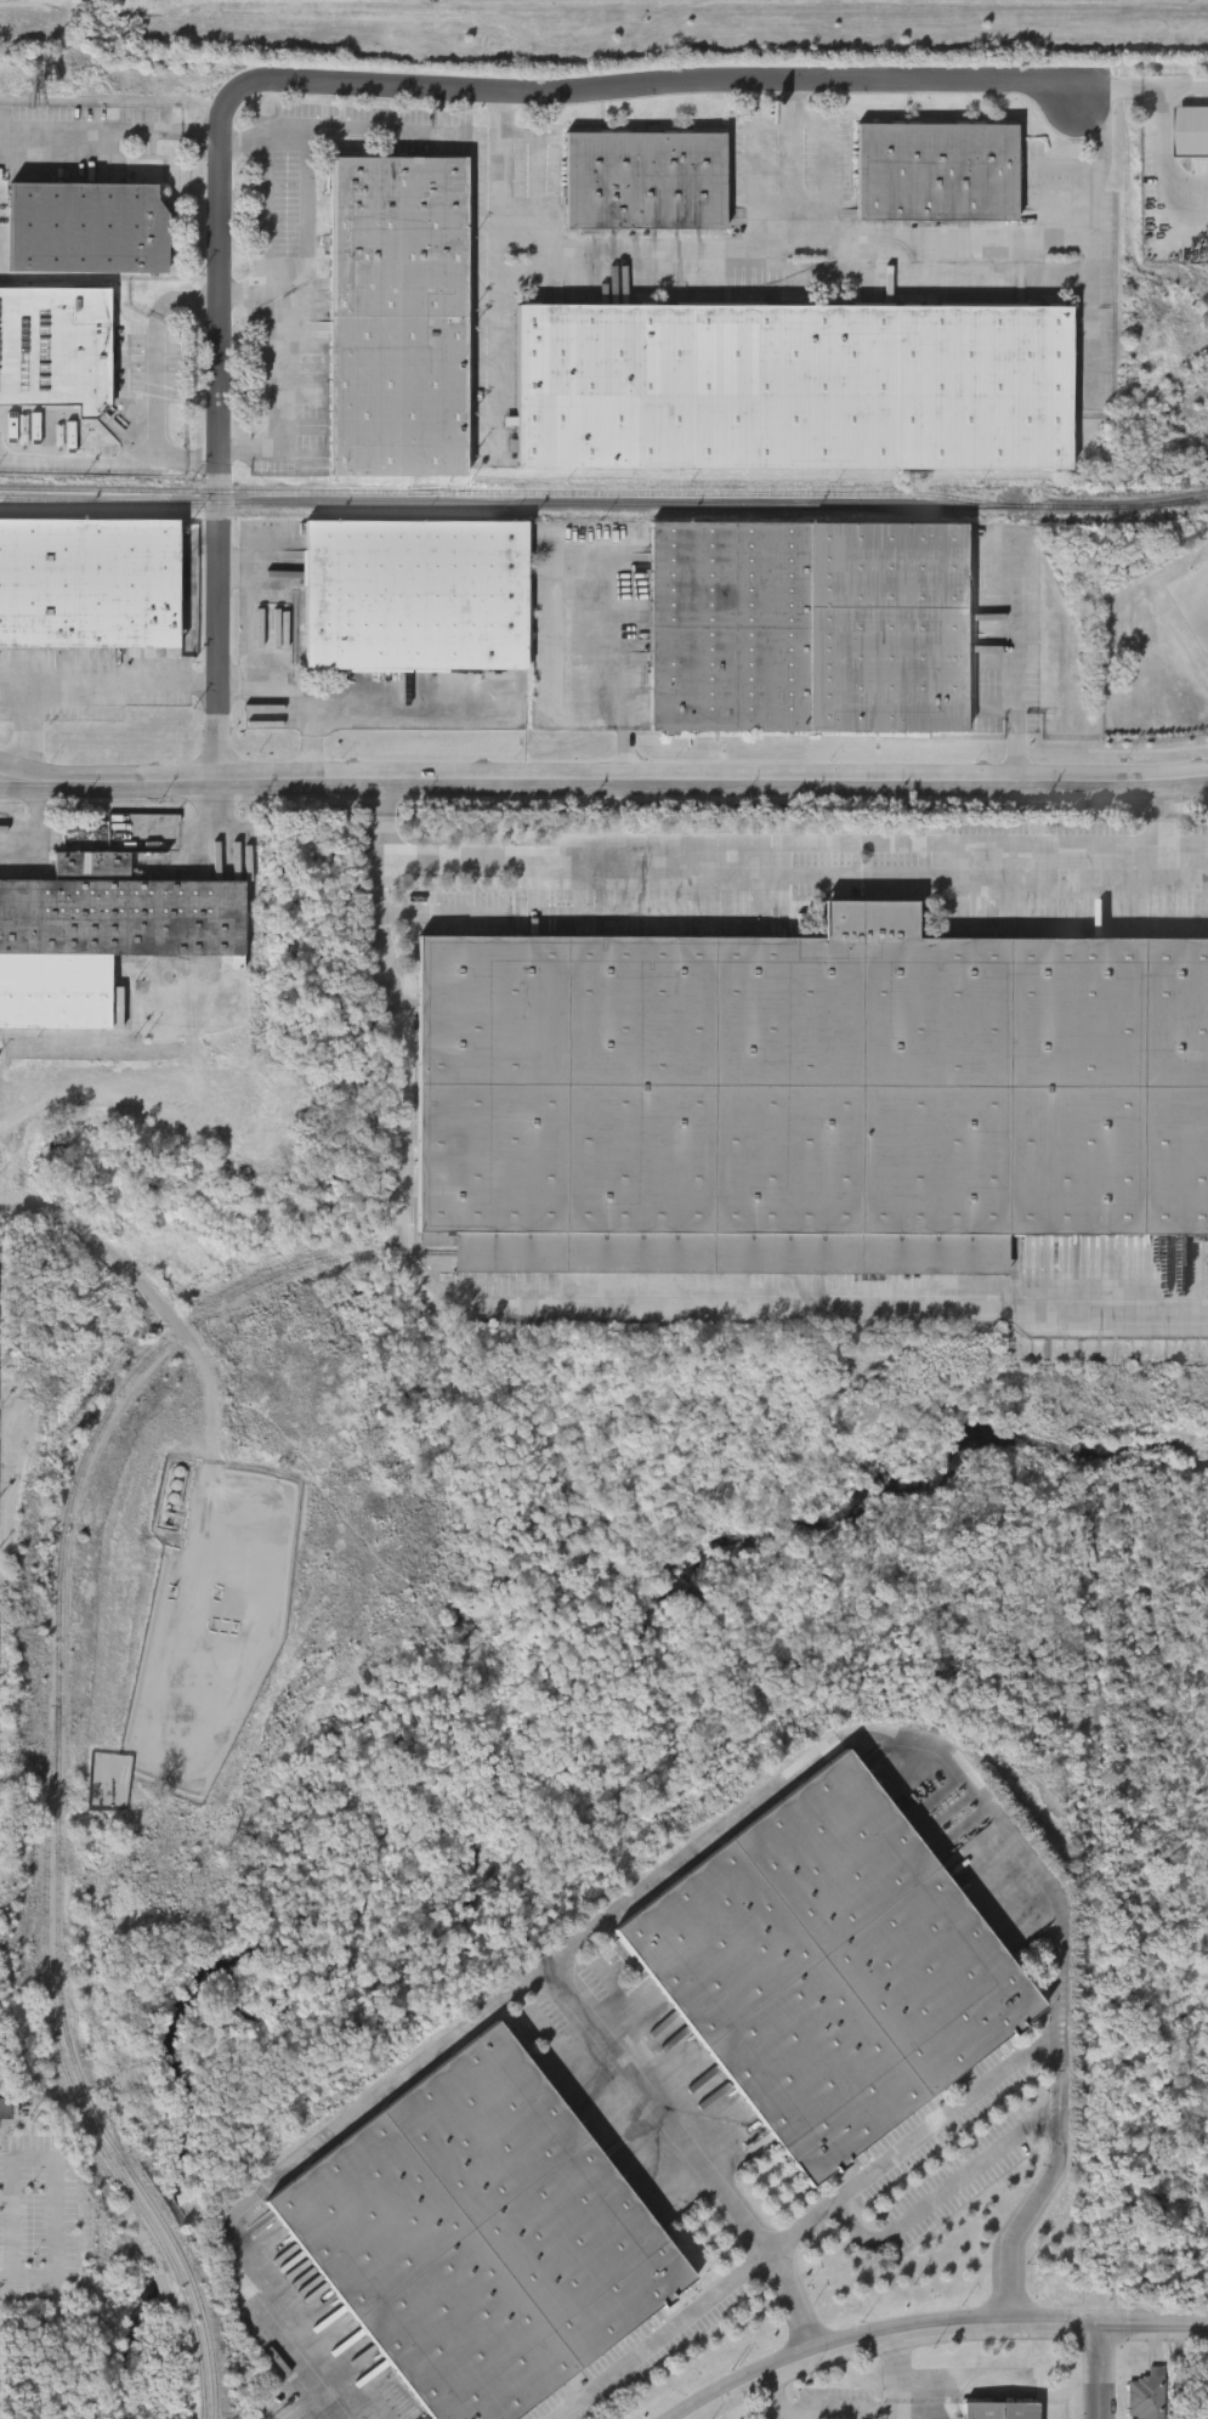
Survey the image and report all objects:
road: (306, 83)
road: (1115, 90)
road: (1183, 90)
road: (113, 128)
building: (1192, 132)
road: (242, 142)
road: (753, 163)
road: (789, 164)
road: (1159, 171)
building: (937, 172)
building: (646, 181)
road: (305, 220)
road: (265, 226)
building: (86, 228)
road: (790, 248)
road: (1091, 248)
road: (495, 273)
road: (254, 291)
building: (399, 319)
building: (56, 350)
road: (158, 379)
building: (793, 390)
road: (84, 466)
railway: (514, 488)
railway: (603, 504)
railway: (108, 516)
building: (89, 584)
building: (414, 594)
road: (265, 625)
building: (805, 629)
road: (605, 663)
road: (1016, 668)
road: (130, 682)
road: (34, 718)
road: (314, 720)
road: (18, 777)
road: (622, 783)
road: (35, 826)
road: (817, 872)
road: (1189, 878)
building: (100, 936)
building: (809, 1099)
road: (560, 1307)
railway: (59, 1726)
road: (838, 1741)
building: (826, 1970)
railway: (69, 2077)
road: (915, 2143)
road: (53, 2159)
road: (297, 2163)
road: (945, 2192)
building: (477, 2237)
road: (6, 2284)
road: (707, 2302)
road: (1151, 2323)
road: (881, 2335)
road: (900, 2358)
road: (1094, 2370)
road: (962, 2385)
building: (1190, 2387)
building: (1144, 2398)
road: (900, 2402)
building: (999, 2410)

